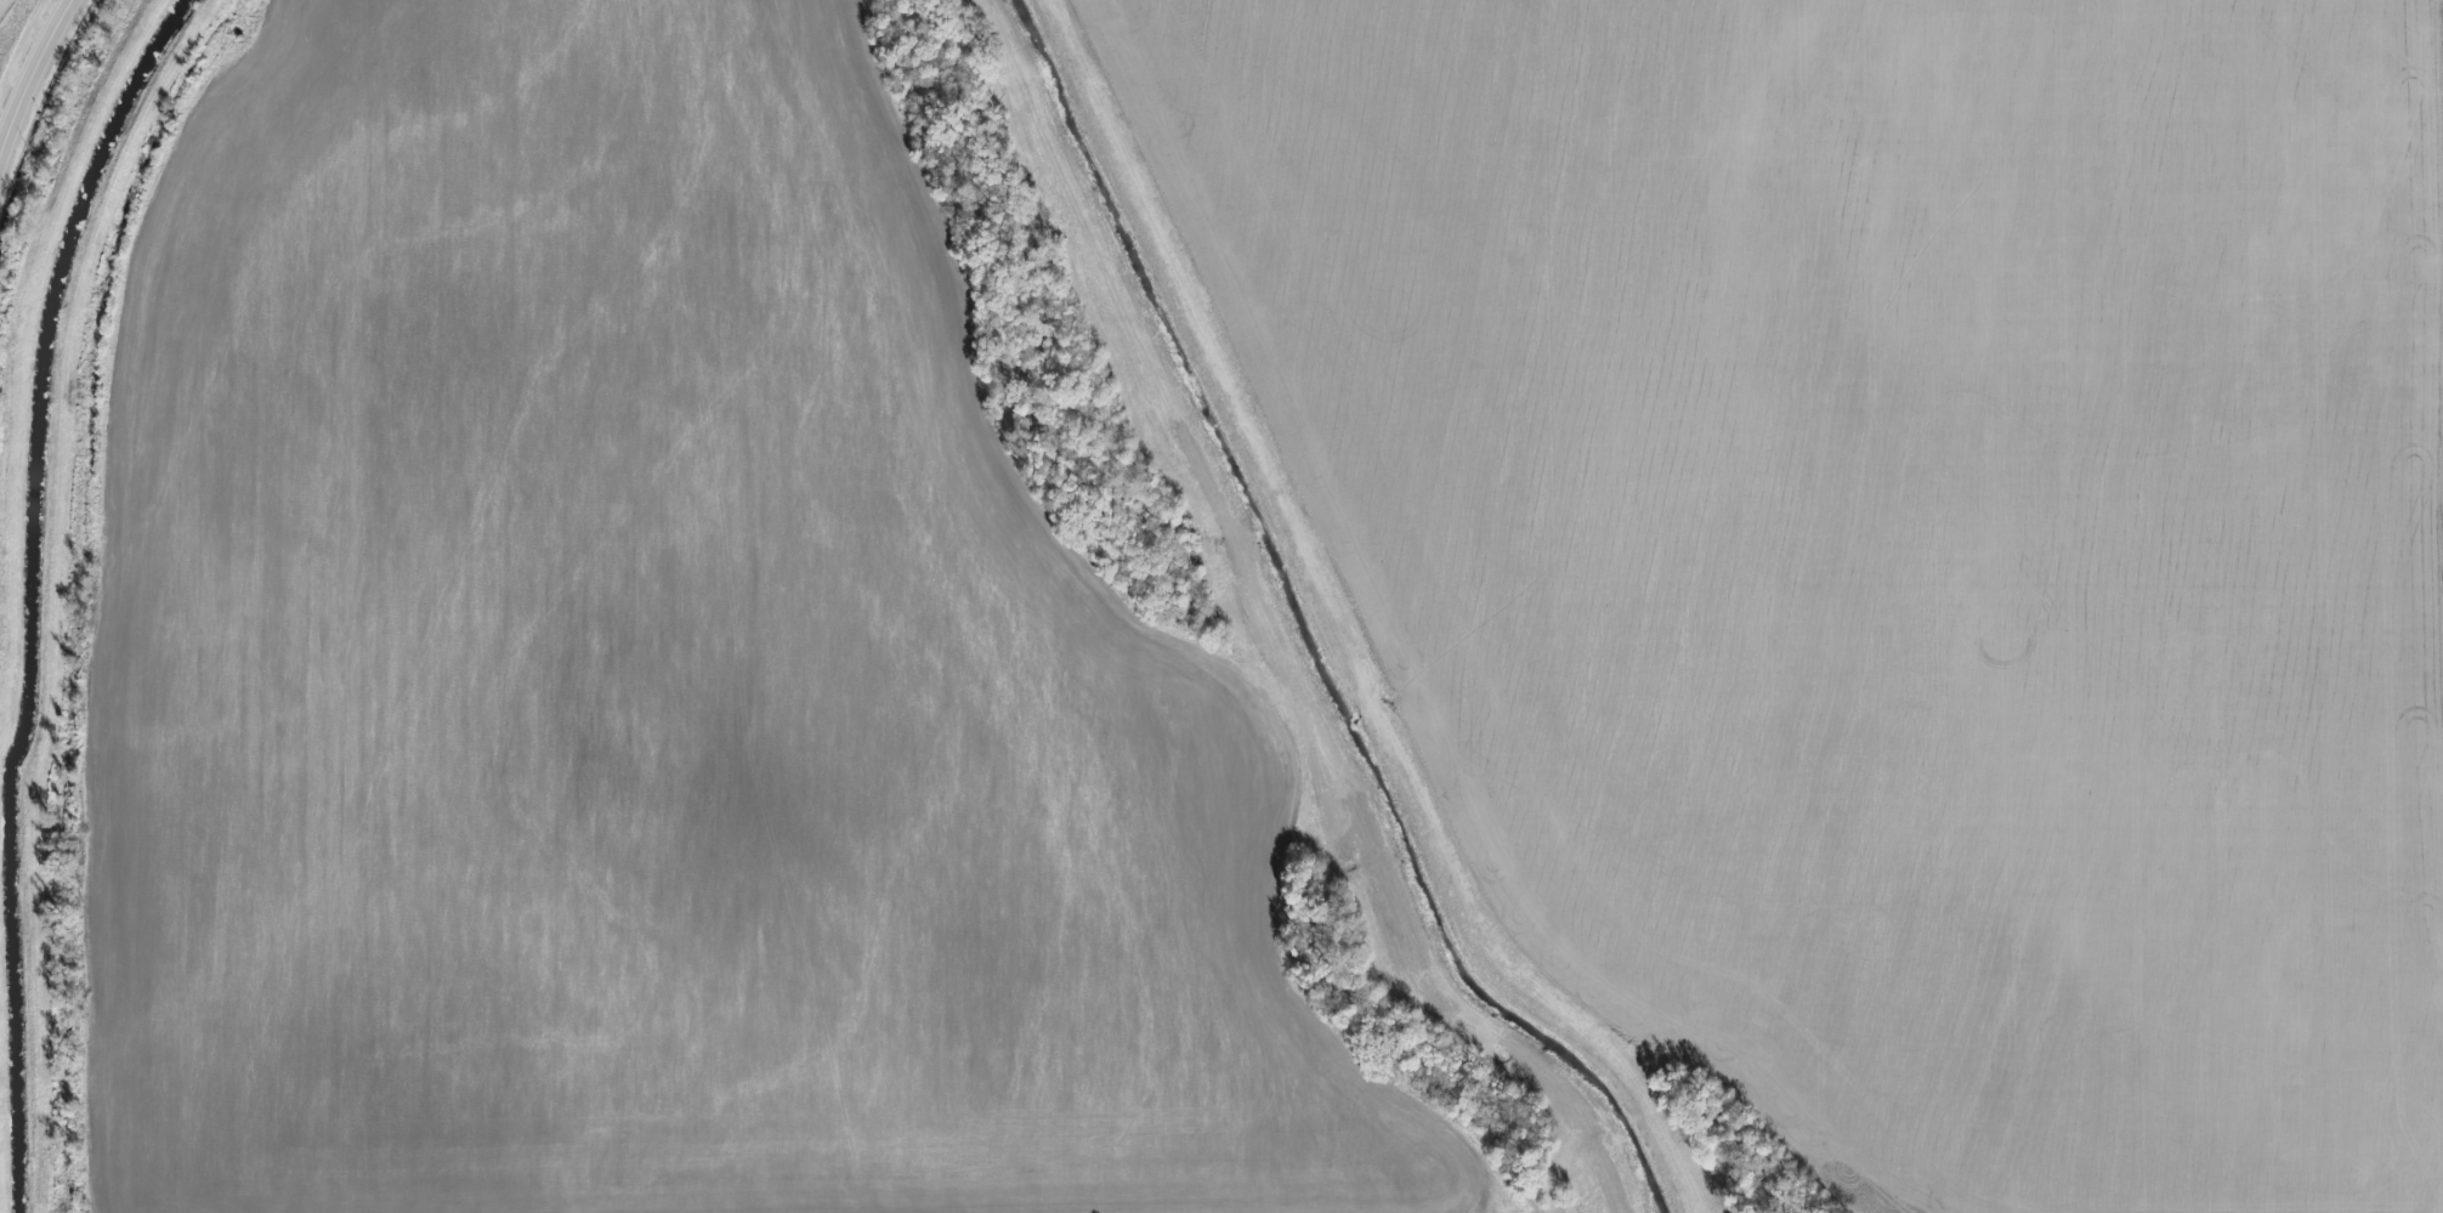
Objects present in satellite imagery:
road: (34, 87)
river: (1302, 631)

